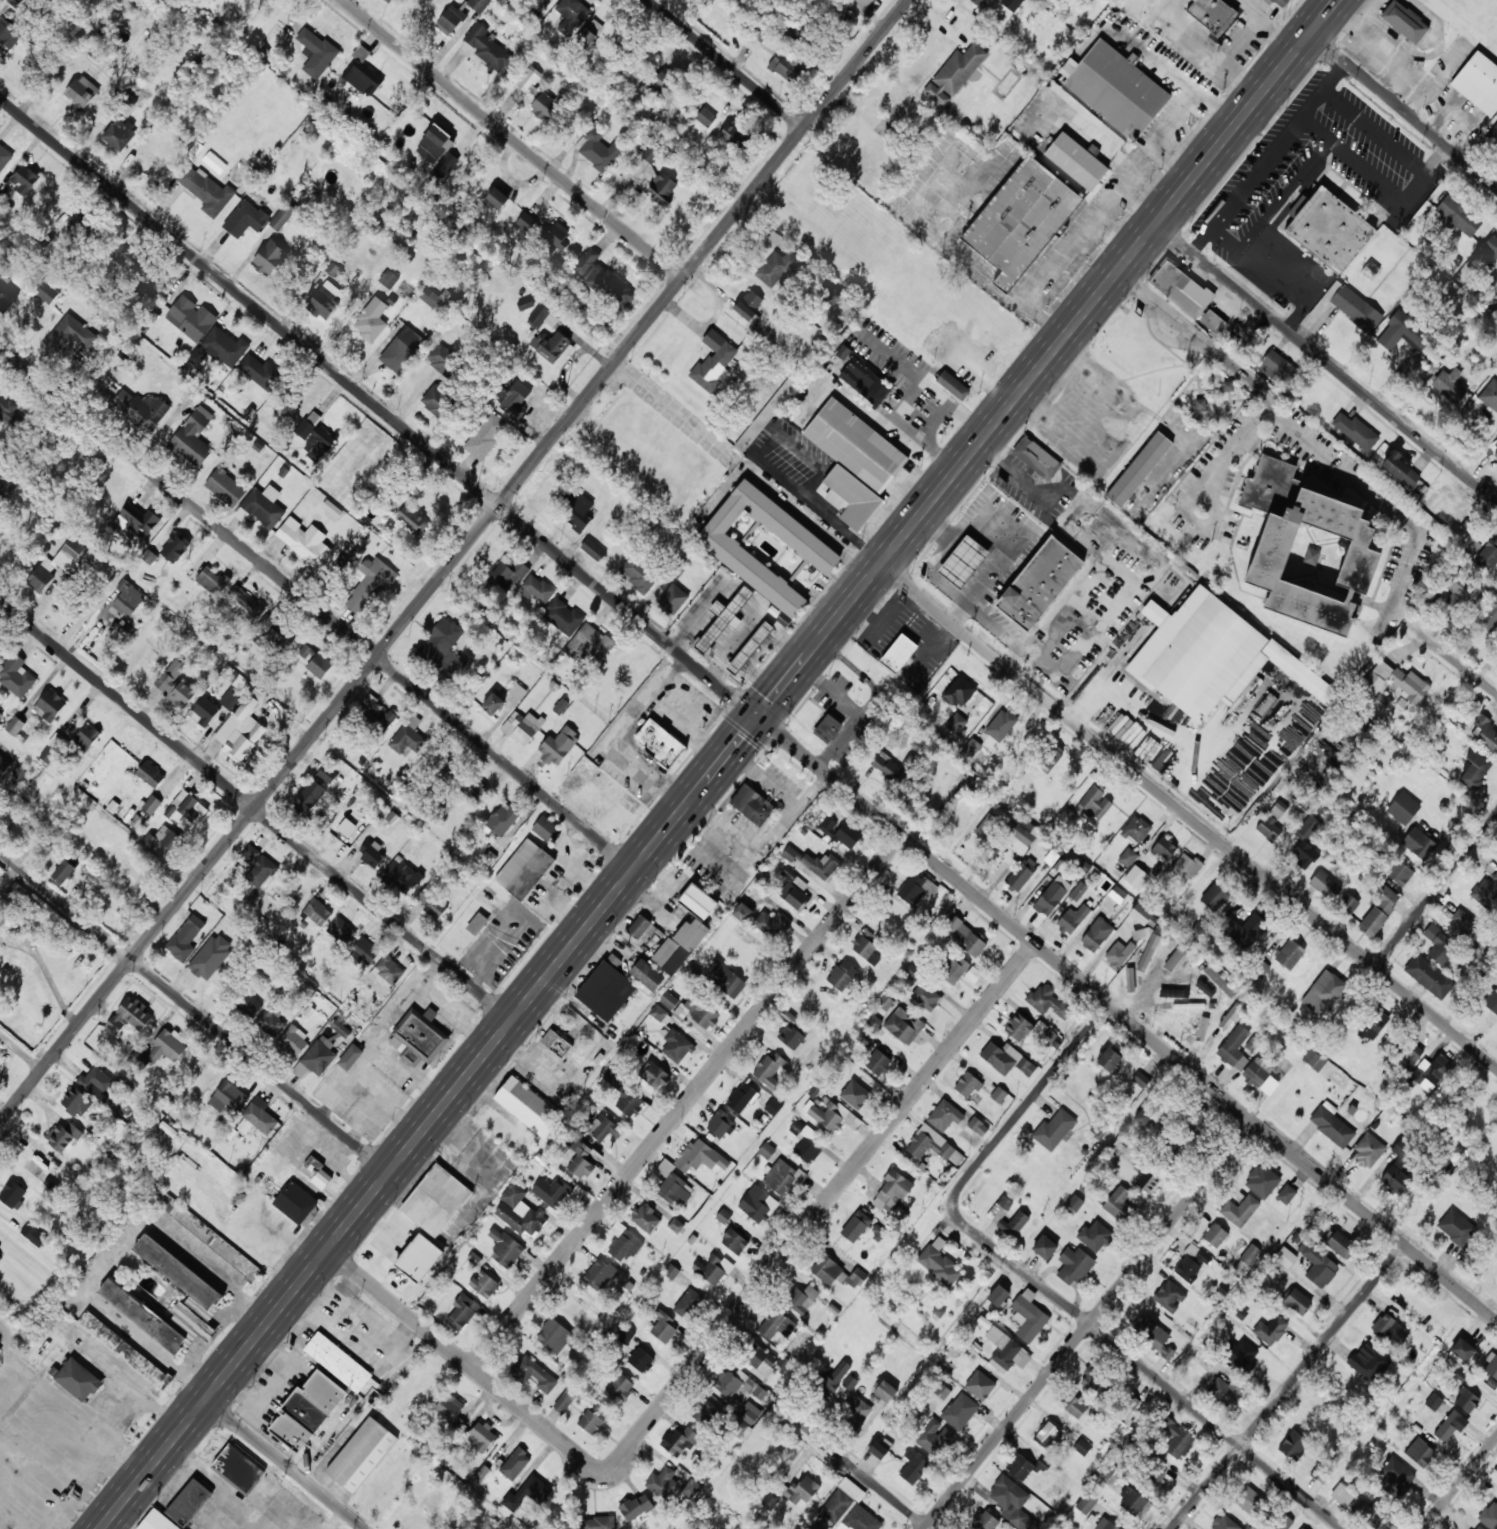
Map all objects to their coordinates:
building: (390, 1)
building: (15, 2)
building: (979, 2)
building: (1012, 4)
building: (479, 5)
building: (572, 13)
building: (1213, 14)
building: (450, 20)
building: (1404, 21)
building: (11, 31)
building: (590, 32)
building: (757, 36)
building: (488, 48)
building: (316, 52)
road: (725, 62)
building: (787, 68)
building: (361, 74)
building: (955, 74)
building: (529, 78)
building: (664, 80)
building: (1478, 83)
building: (1115, 89)
building: (82, 91)
building: (544, 106)
road: (1403, 111)
building: (706, 117)
building: (1492, 131)
building: (119, 133)
building: (733, 136)
road: (511, 137)
building: (434, 144)
building: (599, 149)
building: (4, 157)
building: (1076, 161)
building: (444, 169)
building: (656, 176)
building: (25, 179)
building: (206, 190)
building: (0, 199)
building: (497, 199)
building: (282, 216)
building: (1458, 216)
building: (246, 217)
building: (1021, 220)
building: (1329, 230)
building: (546, 233)
building: (1491, 245)
building: (269, 257)
building: (129, 259)
building: (777, 268)
building: (333, 269)
building: (388, 279)
building: (603, 279)
building: (1180, 288)
building: (6, 290)
building: (47, 293)
building: (830, 295)
building: (434, 297)
building: (323, 302)
building: (525, 304)
building: (749, 306)
building: (1353, 306)
building: (538, 316)
building: (191, 318)
building: (371, 319)
building: (1215, 323)
building: (1403, 332)
building: (70, 334)
building: (550, 345)
building: (219, 348)
building: (402, 348)
building: (845, 353)
building: (442, 358)
road: (1327, 361)
building: (714, 362)
building: (1275, 367)
building: (260, 371)
building: (863, 380)
building: (952, 385)
building: (1450, 385)
building: (1228, 386)
building: (1490, 395)
building: (514, 397)
building: (438, 400)
building: (1200, 406)
building: (6, 407)
building: (143, 407)
road: (20, 412)
building: (768, 414)
building: (308, 424)
building: (1355, 430)
building: (486, 436)
building: (193, 437)
building: (318, 445)
building: (1494, 449)
building: (1036, 458)
building: (854, 462)
building: (1139, 469)
building: (1400, 469)
building: (226, 487)
building: (393, 503)
building: (1449, 505)
building: (262, 506)
building: (331, 510)
building: (577, 512)
building: (413, 519)
building: (137, 521)
road: (814, 521)
building: (304, 543)
building: (175, 548)
building: (1473, 548)
building: (814, 549)
building: (1307, 549)
building: (593, 550)
building: (1488, 555)
road: (451, 559)
building: (964, 562)
building: (56, 566)
building: (380, 571)
building: (509, 574)
building: (639, 574)
building: (212, 581)
building: (1040, 583)
building: (1456, 585)
building: (537, 589)
building: (128, 598)
building: (673, 599)
building: (246, 601)
road: (317, 611)
building: (562, 616)
building: (1490, 617)
building: (722, 620)
building: (122, 631)
building: (277, 632)
building: (589, 644)
building: (443, 647)
building: (750, 648)
building: (307, 652)
building: (898, 653)
building: (1212, 657)
building: (319, 665)
road: (1468, 670)
building: (16, 676)
building: (1394, 683)
building: (175, 685)
building: (960, 690)
building: (517, 691)
building: (229, 700)
building: (1, 703)
building: (493, 704)
building: (50, 705)
building: (561, 706)
road: (747, 708)
building: (204, 712)
building: (1, 715)
traffic signals: (758, 717)
building: (383, 718)
building: (956, 723)
building: (1001, 725)
building: (15, 726)
building: (242, 726)
building: (522, 727)
building: (828, 729)
building: (1484, 733)
building: (408, 736)
building: (87, 737)
building: (661, 744)
building: (558, 746)
building: (53, 748)
building: (971, 748)
road: (1339, 752)
building: (1052, 756)
road: (719, 764)
building: (4, 766)
building: (889, 768)
building: (1475, 770)
building: (449, 772)
building: (327, 774)
building: (150, 775)
building: (474, 790)
building: (309, 796)
building: (1095, 803)
building: (151, 804)
building: (752, 805)
road: (256, 806)
building: (444, 807)
building: (1403, 808)
building: (187, 810)
road: (1189, 816)
building: (502, 819)
building: (1272, 822)
building: (347, 827)
building: (545, 828)
building: (984, 828)
building: (1136, 829)
building: (842, 832)
building: (1020, 835)
building: (162, 841)
building: (1305, 842)
building: (1418, 843)
building: (1164, 848)
building: (789, 853)
building: (372, 854)
building: (1127, 857)
building: (258, 865)
building: (821, 865)
building: (1186, 867)
building: (524, 869)
building: (64, 871)
building: (1400, 873)
building: (1022, 874)
building: (402, 875)
building: (1136, 877)
building: (1325, 884)
building: (916, 888)
building: (794, 890)
road: (1436, 890)
building: (1078, 891)
building: (1485, 891)
building: (19, 892)
building: (1117, 894)
building: (1052, 896)
building: (1217, 896)
building: (1386, 899)
building: (697, 902)
building: (432, 903)
building: (1348, 903)
building: (317, 912)
building: (741, 912)
building: (1144, 916)
building: (1073, 919)
building: (1372, 922)
building: (477, 923)
building: (773, 924)
building: (1461, 924)
building: (642, 927)
building: (1244, 930)
building: (341, 931)
building: (1096, 934)
building: (964, 936)
building: (185, 938)
building: (1440, 944)
building: (680, 946)
building: (866, 947)
building: (364, 951)
building: (1148, 953)
building: (1119, 954)
building: (1290, 954)
building: (211, 956)
building: (1176, 956)
building: (953, 968)
building: (389, 970)
building: (913, 971)
building: (973, 974)
building: (647, 975)
building: (842, 975)
building: (1428, 976)
building: (725, 979)
building: (1220, 981)
building: (606, 989)
building: (1205, 989)
building: (1323, 992)
building: (1174, 993)
building: (926, 997)
building: (670, 1000)
building: (1491, 1000)
building: (1048, 1001)
building: (248, 1004)
building: (1188, 1006)
road: (195, 1011)
building: (699, 1011)
building: (659, 1013)
building: (1232, 1013)
building: (130, 1016)
building: (271, 1022)
building: (1373, 1024)
building: (903, 1026)
building: (340, 1029)
building: (1030, 1030)
building: (792, 1031)
building: (417, 1037)
building: (294, 1041)
building: (556, 1043)
building: (675, 1044)
building: (1234, 1048)
building: (160, 1050)
building: (350, 1057)
building: (1001, 1057)
building: (1410, 1057)
building: (316, 1058)
building: (1109, 1059)
building: (879, 1062)
building: (1026, 1066)
building: (770, 1070)
building: (1431, 1072)
building: (656, 1073)
building: (1260, 1076)
building: (615, 1079)
building: (1141, 1080)
building: (97, 1081)
building: (968, 1085)
building: (855, 1094)
building: (999, 1095)
building: (228, 1097)
building: (741, 1097)
building: (76, 1101)
road: (687, 1101)
road: (1029, 1102)
building: (629, 1103)
building: (773, 1106)
building: (528, 1107)
building: (1147, 1114)
building: (944, 1115)
building: (258, 1117)
building: (834, 1117)
building: (720, 1124)
building: (1331, 1124)
building: (978, 1126)
building: (604, 1128)
building: (1054, 1129)
building: (1097, 1131)
building: (63, 1136)
building: (804, 1140)
building: (933, 1146)
building: (766, 1150)
building: (1369, 1150)
building: (1400, 1152)
building: (700, 1156)
building: (580, 1160)
building: (319, 1173)
building: (783, 1178)
building: (1147, 1180)
building: (1395, 1180)
building: (1262, 1181)
building: (672, 1184)
building: (552, 1191)
building: (892, 1192)
building: (12, 1194)
building: (1286, 1194)
building: (436, 1200)
building: (1117, 1201)
building: (295, 1202)
building: (758, 1204)
building: (1074, 1204)
building: (999, 1209)
building: (1240, 1210)
building: (520, 1212)
building: (723, 1216)
building: (645, 1218)
building: (1013, 1224)
building: (676, 1225)
building: (856, 1226)
building: (1456, 1227)
building: (880, 1230)
building: (34, 1235)
building: (208, 1235)
building: (1215, 1235)
building: (1094, 1236)
building: (734, 1241)
building: (624, 1242)
building: (1340, 1244)
building: (1044, 1247)
building: (505, 1248)
building: (0, 1258)
building: (419, 1258)
building: (1285, 1258)
building: (939, 1263)
building: (1191, 1263)
building: (1073, 1265)
building: (1319, 1266)
building: (712, 1269)
building: (671, 1272)
building: (837, 1273)
building: (599, 1275)
building: (484, 1285)
building: (206, 1294)
building: (998, 1295)
building: (1169, 1296)
building: (802, 1298)
building: (1298, 1301)
building: (689, 1303)
building: (462, 1312)
building: (1028, 1316)
road: (1088, 1324)
building: (777, 1325)
building: (664, 1327)
building: (1271, 1330)
building: (1390, 1330)
building: (554, 1336)
building: (1153, 1336)
building: (1, 1346)
road: (707, 1348)
building: (1462, 1349)
building: (125, 1350)
building: (1006, 1351)
building: (1241, 1353)
building: (760, 1359)
building: (641, 1360)
building: (1368, 1361)
building: (338, 1362)
building: (1491, 1365)
road: (1145, 1368)
building: (533, 1373)
building: (837, 1375)
building: (78, 1380)
building: (1095, 1380)
building: (850, 1383)
building: (738, 1384)
building: (980, 1385)
road: (1289, 1386)
building: (620, 1388)
building: (885, 1391)
building: (942, 1391)
building: (1226, 1391)
building: (565, 1399)
building: (1466, 1400)
building: (1433, 1401)
building: (1132, 1403)
building: (1074, 1406)
building: (449, 1407)
building: (307, 1410)
building: (855, 1410)
building: (960, 1411)
building: (704, 1413)
building: (590, 1422)
building: (1449, 1426)
building: (1047, 1434)
building: (482, 1436)
building: (933, 1436)
building: (1176, 1438)
building: (681, 1441)
building: (1294, 1445)
building: (1082, 1447)
building: (881, 1448)
building: (1420, 1452)
building: (361, 1454)
building: (233, 1464)
road: (285, 1464)
building: (515, 1464)
building: (914, 1467)
building: (1020, 1467)
road: (865, 1475)
building: (1319, 1475)
building: (1396, 1476)
building: (1154, 1478)
building: (661, 1482)
road: (1459, 1483)
building: (851, 1489)
building: (1344, 1492)
building: (527, 1493)
building: (1246, 1498)
building: (189, 1502)
building: (1134, 1502)
building: (1012, 1503)
building: (1086, 1503)
building: (636, 1507)
building: (848, 1513)
building: (1368, 1513)
building: (1490, 1515)
building: (157, 1521)
building: (984, 1521)
building: (599, 1522)
building: (1284, 1522)
building: (1224, 1523)
building: (1105, 1524)
building: (1476, 1526)
building: (1302, 1528)

